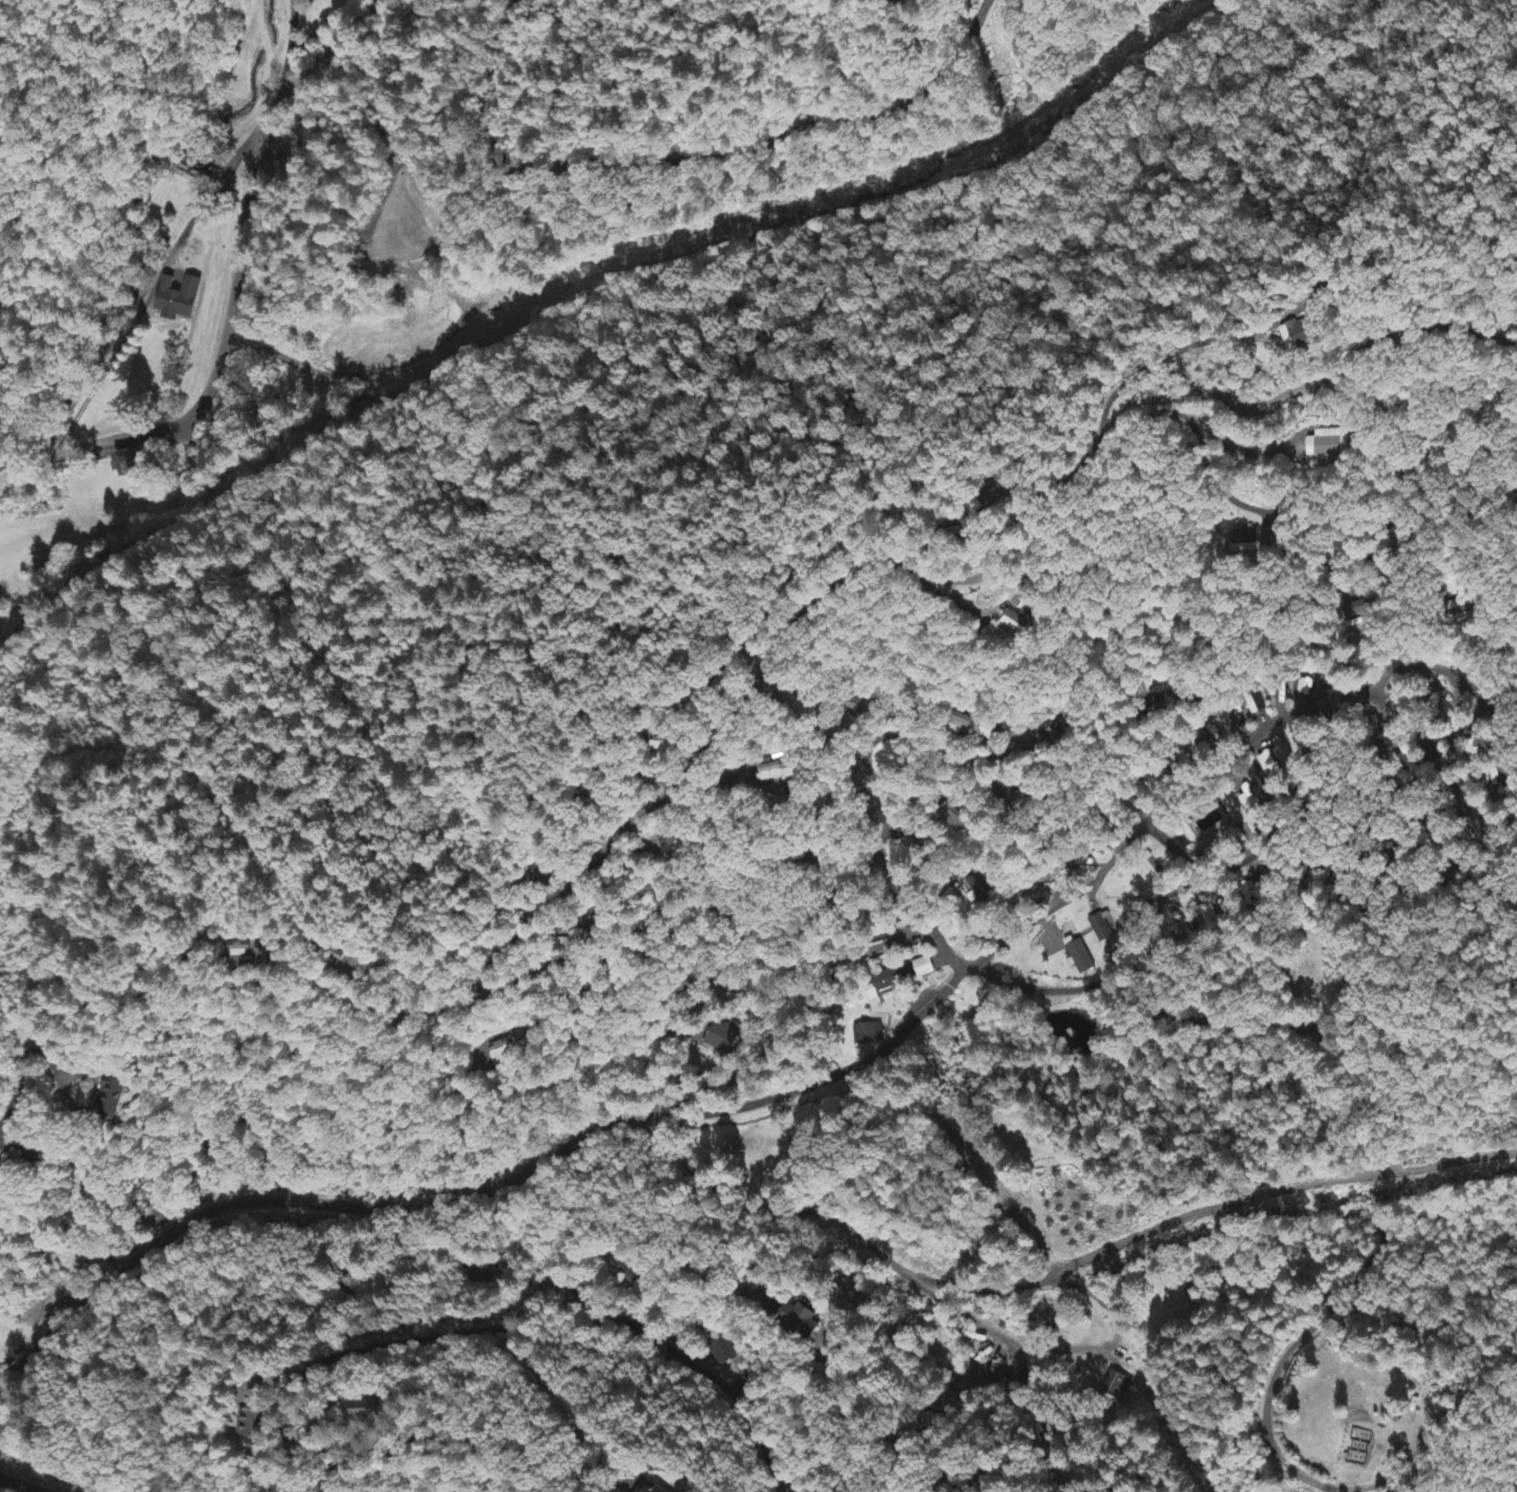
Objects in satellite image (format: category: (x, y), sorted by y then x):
road: (735, 142)
road: (252, 231)
building: (1297, 336)
building: (1328, 443)
road: (49, 444)
building: (130, 462)
road: (827, 590)
building: (1018, 619)
building: (1378, 703)
building: (973, 728)
building: (774, 772)
road: (220, 788)
building: (955, 819)
road: (1123, 844)
road: (883, 859)
building: (1101, 928)
building: (1082, 957)
road: (834, 965)
building: (923, 968)
road: (1105, 972)
building: (884, 984)
road: (685, 1017)
building: (868, 1034)
building: (109, 1098)
road: (745, 1106)
road: (235, 1210)
road: (563, 1241)
road: (436, 1262)
road: (683, 1265)
road: (1063, 1267)
road: (553, 1272)
building: (799, 1320)
road: (311, 1347)
building: (722, 1353)
road: (374, 1355)
building: (1116, 1385)
road: (702, 1407)
building: (367, 1410)
building: (249, 1425)
road: (243, 1445)
building: (653, 1489)

